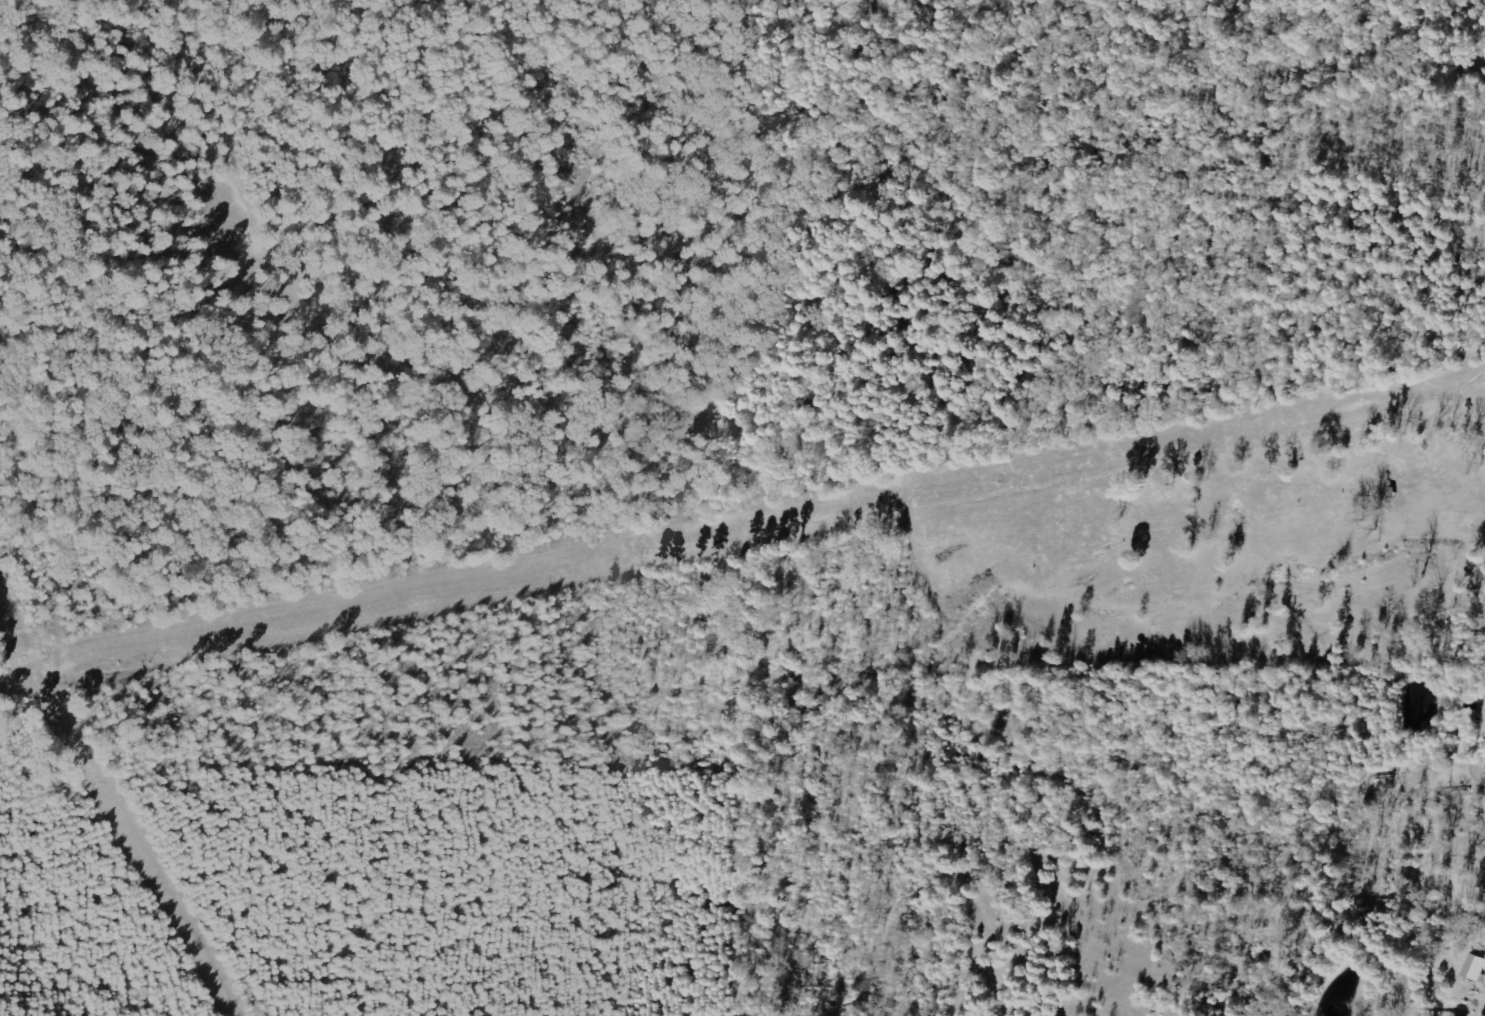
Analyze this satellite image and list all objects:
road: (537, 213)
road: (1452, 659)
building: (1484, 729)
building: (1476, 968)

